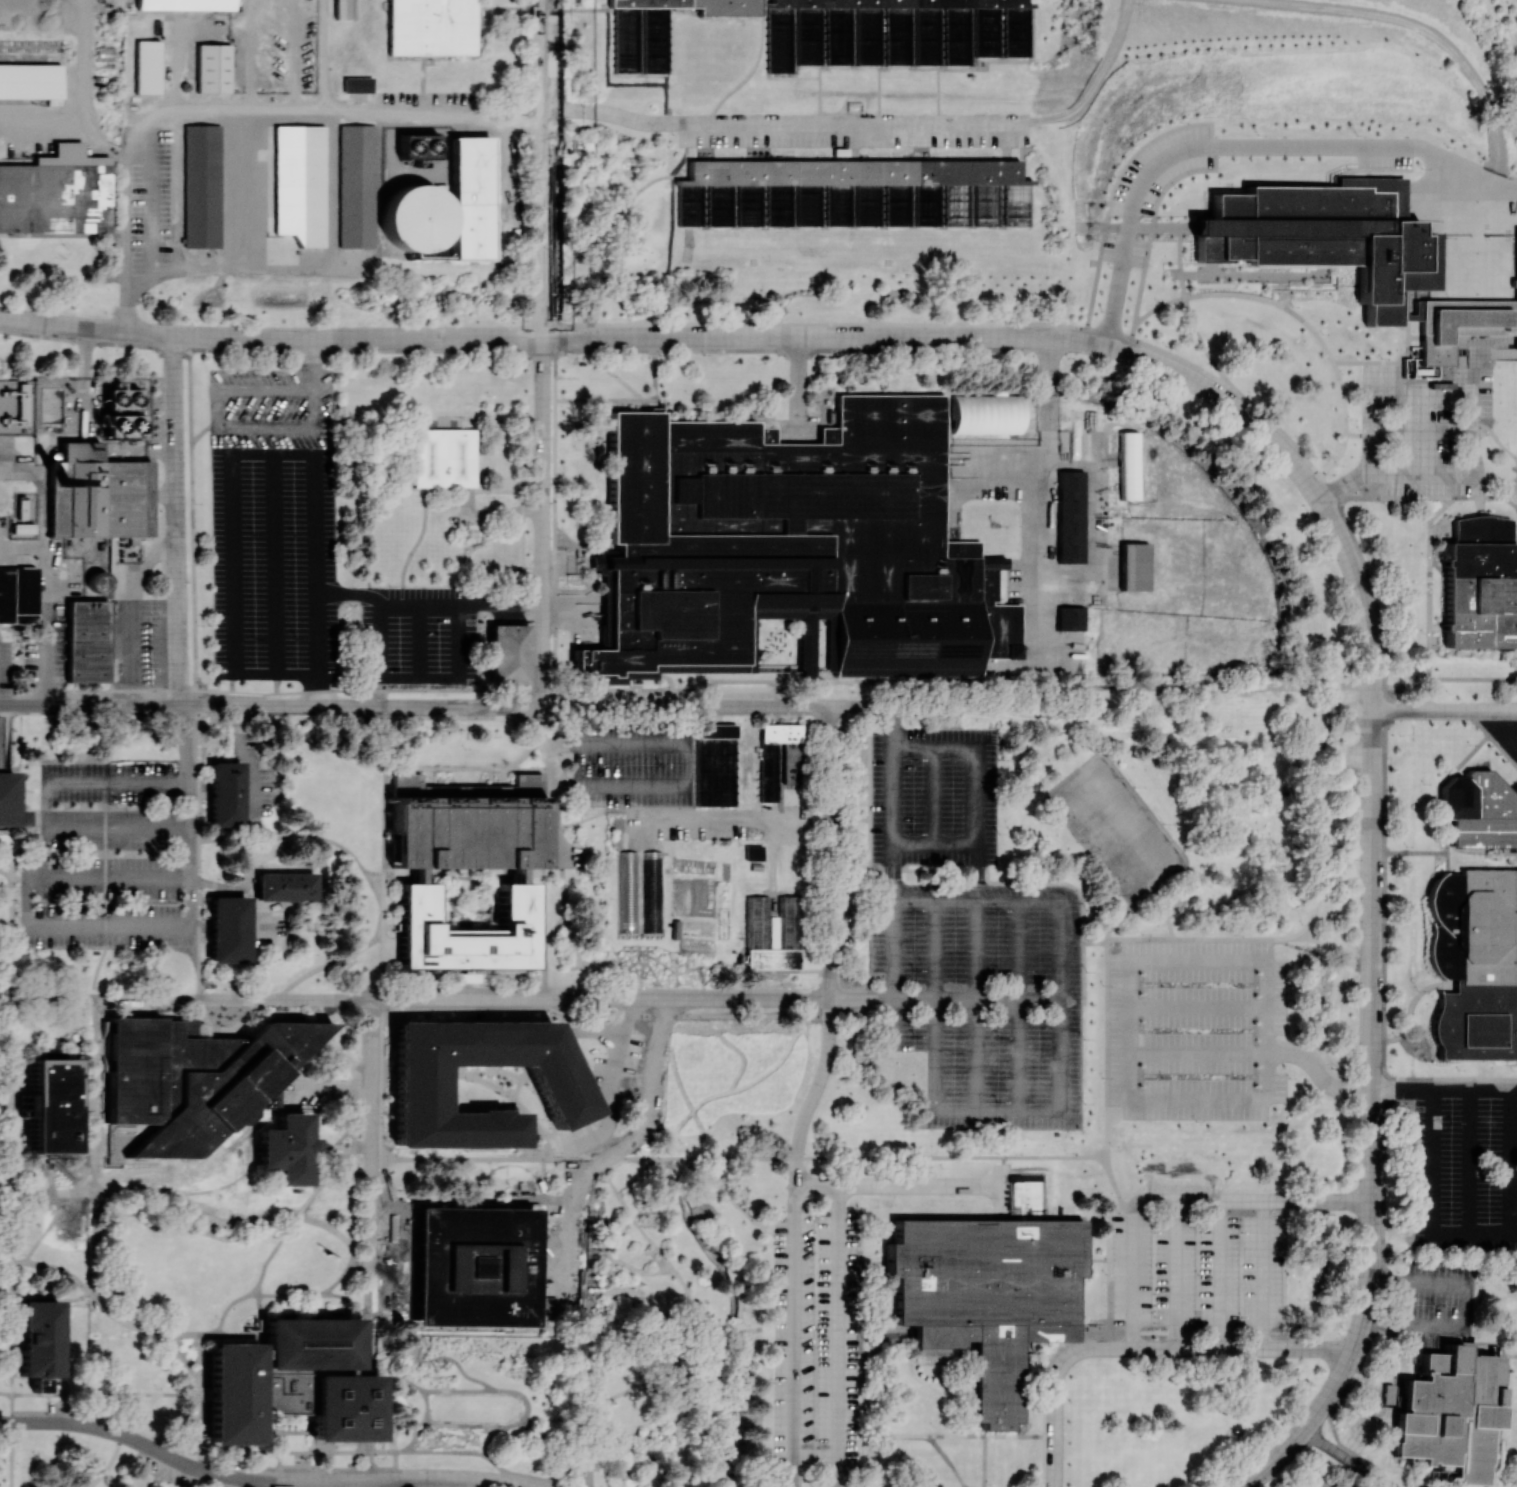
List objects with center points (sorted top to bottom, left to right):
building: (184, 4)
building: (340, 9)
building: (431, 27)
building: (837, 31)
building: (146, 66)
building: (212, 68)
building: (30, 81)
building: (356, 84)
road: (235, 116)
road: (80, 117)
road: (778, 122)
building: (314, 133)
road: (1284, 149)
road: (541, 168)
building: (201, 186)
building: (356, 186)
building: (56, 193)
building: (853, 193)
building: (470, 198)
building: (416, 221)
building: (1354, 256)
road: (269, 337)
road: (1068, 338)
road: (797, 381)
road: (1045, 399)
building: (984, 414)
road: (1495, 440)
building: (79, 451)
building: (442, 457)
building: (1127, 465)
road: (1509, 490)
road: (232, 493)
building: (99, 498)
building: (1069, 516)
road: (175, 520)
road: (541, 521)
building: (22, 528)
building: (792, 544)
building: (1515, 557)
road: (274, 564)
building: (1133, 566)
road: (41, 570)
building: (98, 581)
building: (1478, 584)
road: (344, 592)
building: (17, 594)
road: (1425, 594)
road: (458, 602)
building: (1069, 618)
building: (86, 641)
building: (507, 653)
road: (451, 675)
road: (1025, 685)
road: (270, 706)
road: (685, 706)
road: (1444, 709)
road: (497, 713)
road: (1501, 733)
road: (687, 759)
building: (779, 760)
building: (713, 764)
road: (70, 780)
road: (556, 783)
building: (224, 794)
road: (974, 797)
building: (8, 802)
building: (1476, 811)
road: (891, 821)
building: (465, 823)
road: (117, 828)
road: (297, 835)
road: (25, 841)
road: (382, 851)
building: (752, 852)
road: (82, 875)
road: (12, 877)
road: (9, 881)
building: (285, 886)
building: (639, 893)
road: (191, 897)
road: (199, 918)
building: (227, 928)
building: (771, 931)
building: (466, 932)
road: (13, 940)
road: (829, 946)
road: (358, 950)
road: (1158, 952)
building: (1472, 962)
road: (99, 973)
road: (184, 997)
road: (599, 997)
road: (945, 998)
road: (426, 1009)
road: (715, 1013)
road: (933, 1013)
road: (357, 1048)
road: (1214, 1050)
road: (369, 1066)
building: (194, 1077)
building: (416, 1089)
road: (10, 1104)
building: (49, 1105)
road: (1369, 1120)
building: (285, 1148)
road: (766, 1158)
road: (1428, 1162)
road: (11, 1188)
building: (1026, 1188)
road: (1181, 1196)
road: (260, 1216)
road: (46, 1227)
road: (287, 1228)
building: (472, 1263)
park: (189, 1292)
building: (988, 1296)
road: (371, 1317)
road: (837, 1318)
road: (121, 1320)
park: (682, 1322)
road: (794, 1335)
road: (1080, 1339)
road: (10, 1341)
building: (40, 1342)
building: (309, 1343)
road: (1140, 1347)
road: (495, 1389)
road: (456, 1391)
building: (233, 1393)
road: (104, 1394)
road: (199, 1402)
building: (342, 1406)
building: (1446, 1414)
road: (874, 1435)
road: (119, 1438)
road: (546, 1446)
road: (426, 1452)
park: (72, 1461)
road: (330, 1469)
road: (395, 1469)
road: (163, 1479)
road: (254, 1479)
park: (199, 1482)
road: (344, 1483)
road: (365, 1483)

